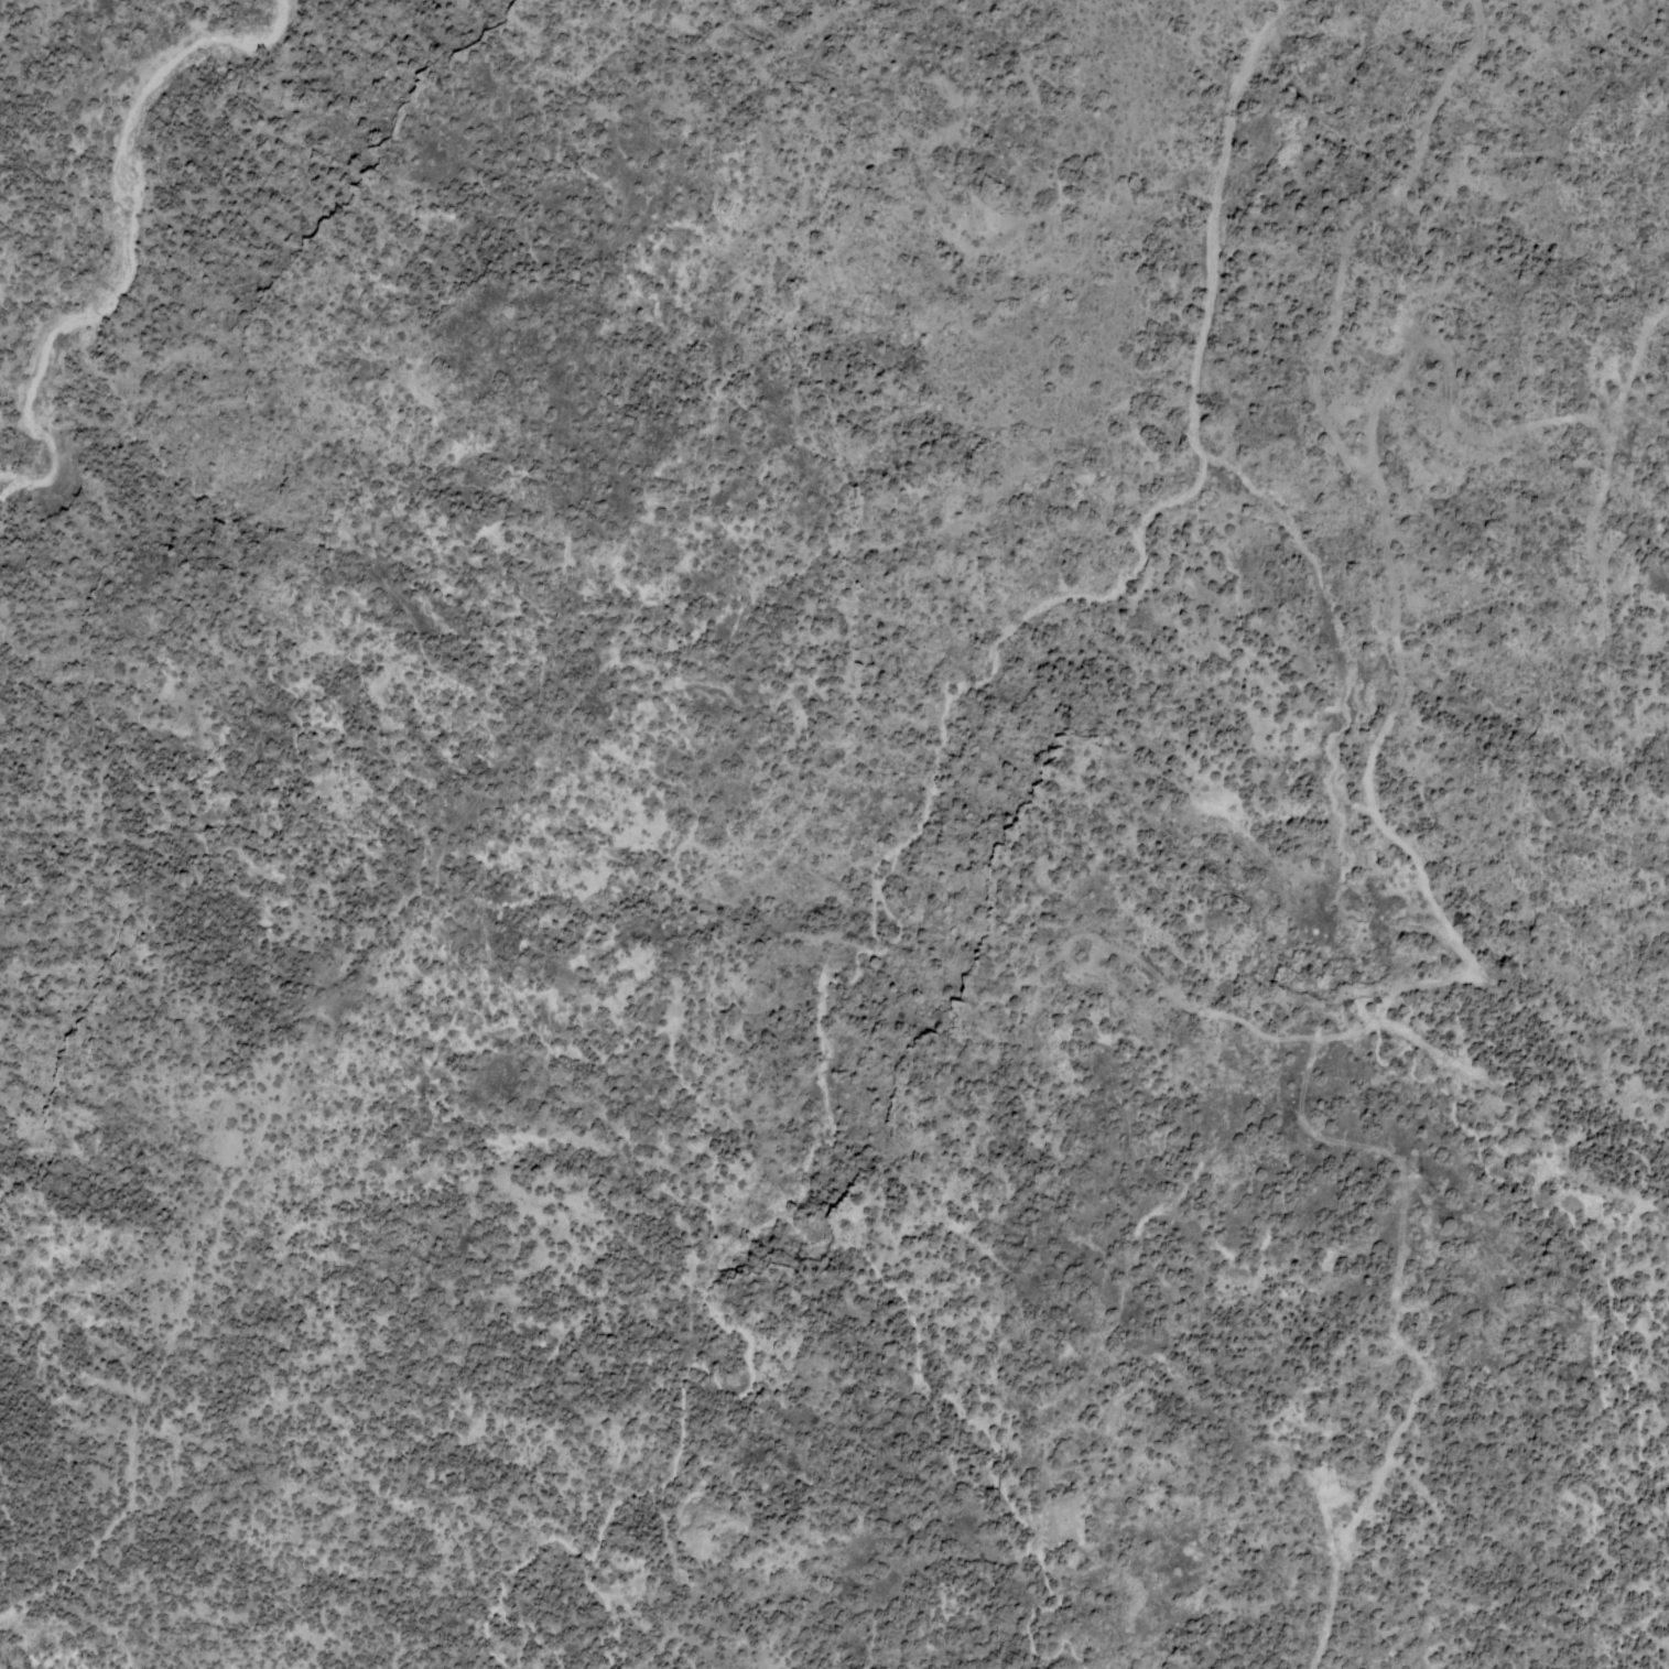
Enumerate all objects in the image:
power tower: (1627, 351)
road: (1372, 480)
power tower: (1576, 557)
power tower: (1454, 1054)
power tower: (1342, 1488)

